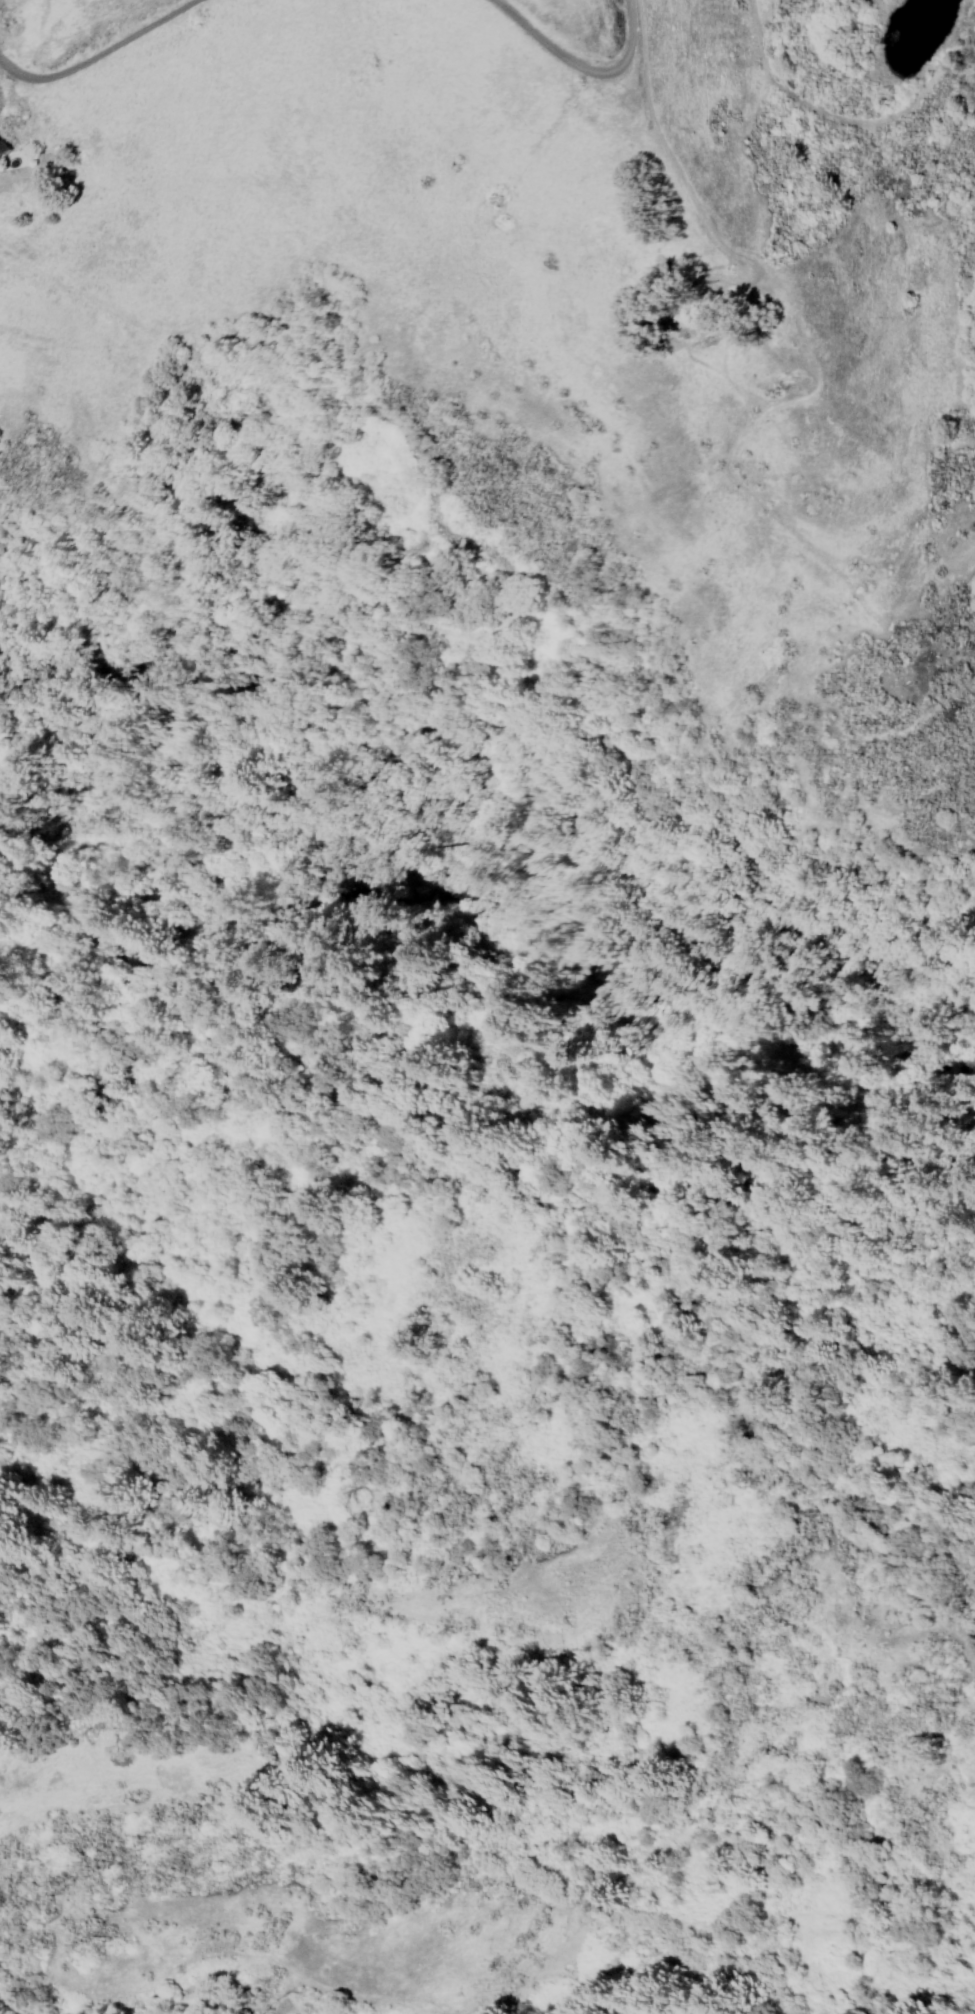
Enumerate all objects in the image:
road: (96, 55)
road: (587, 68)
road: (817, 109)
building: (3, 156)
road: (674, 163)

